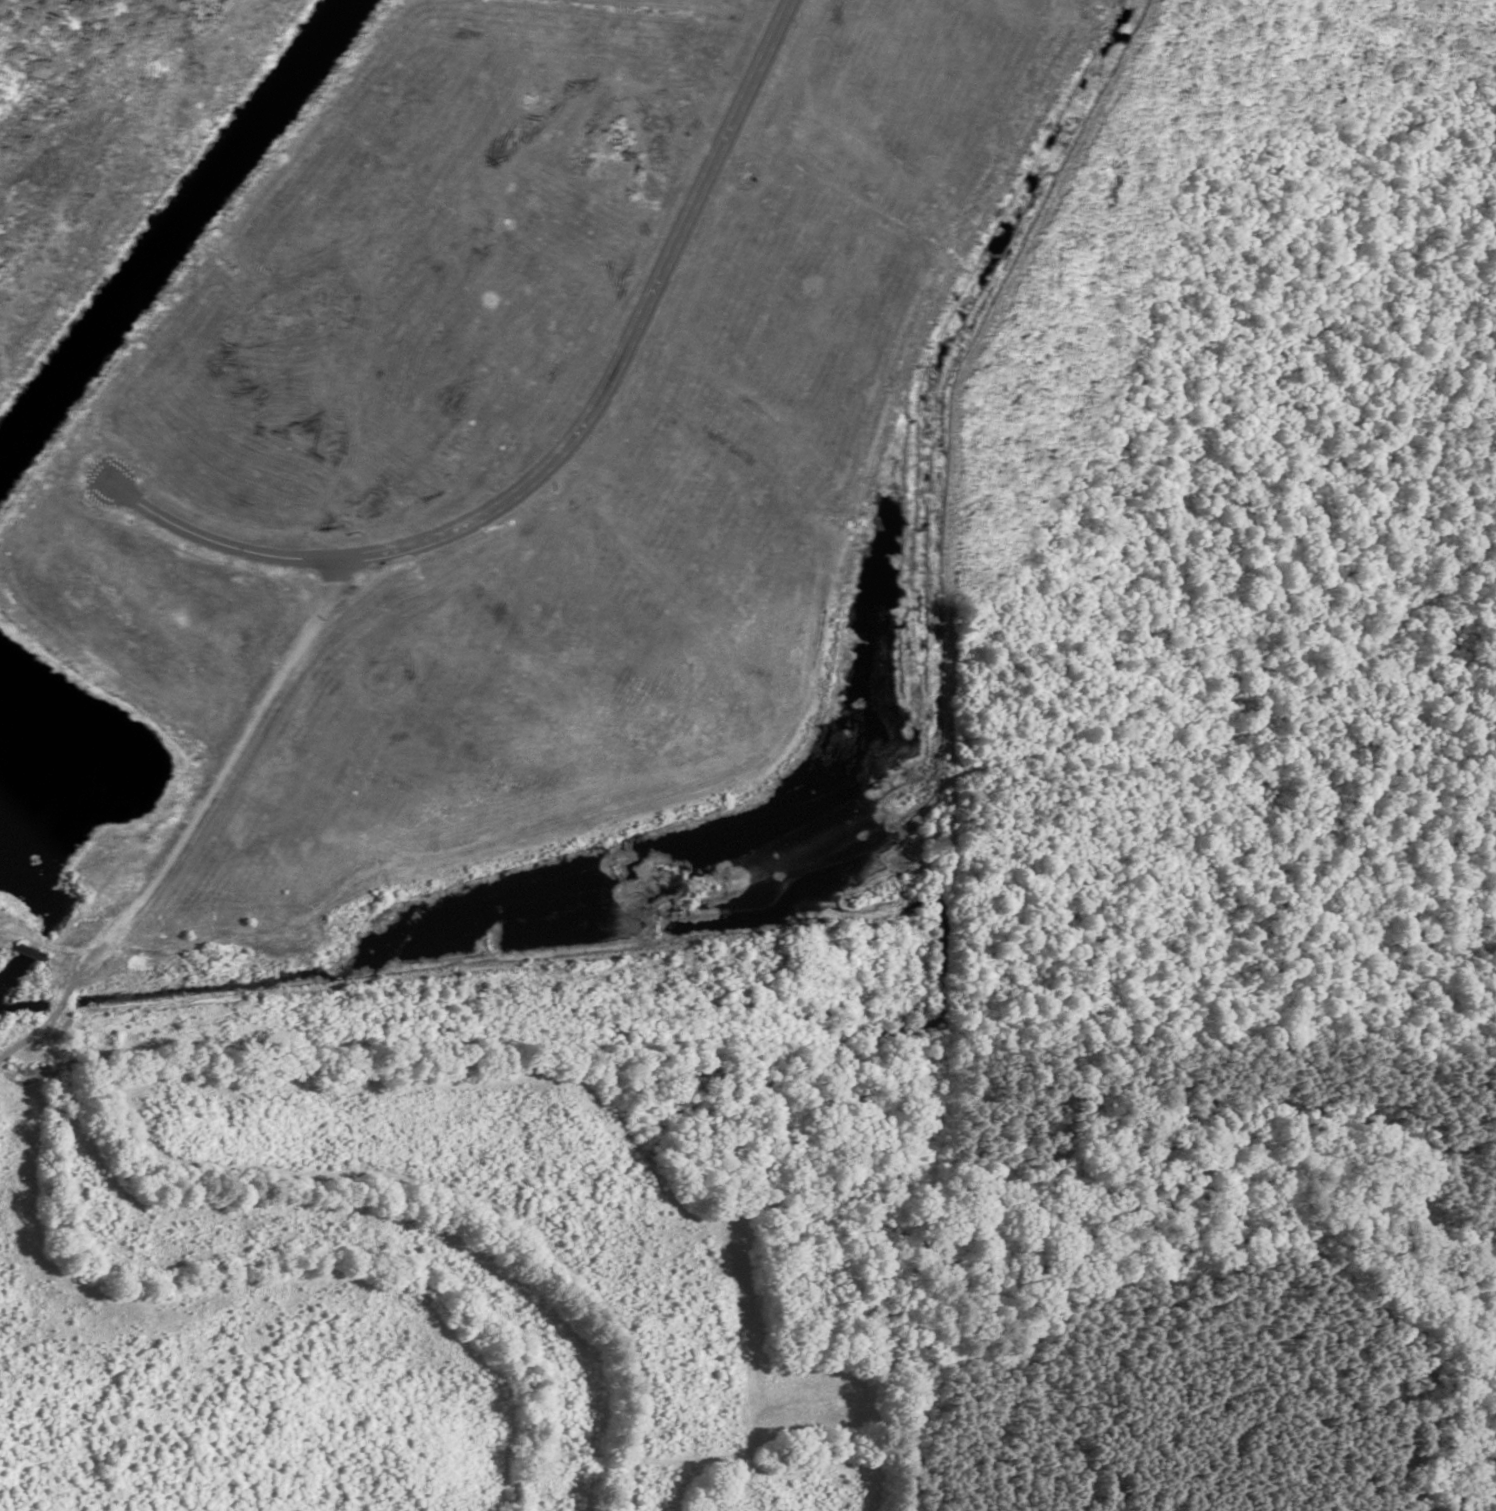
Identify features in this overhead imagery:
river: (174, 246)
road: (559, 446)
river: (25, 901)

